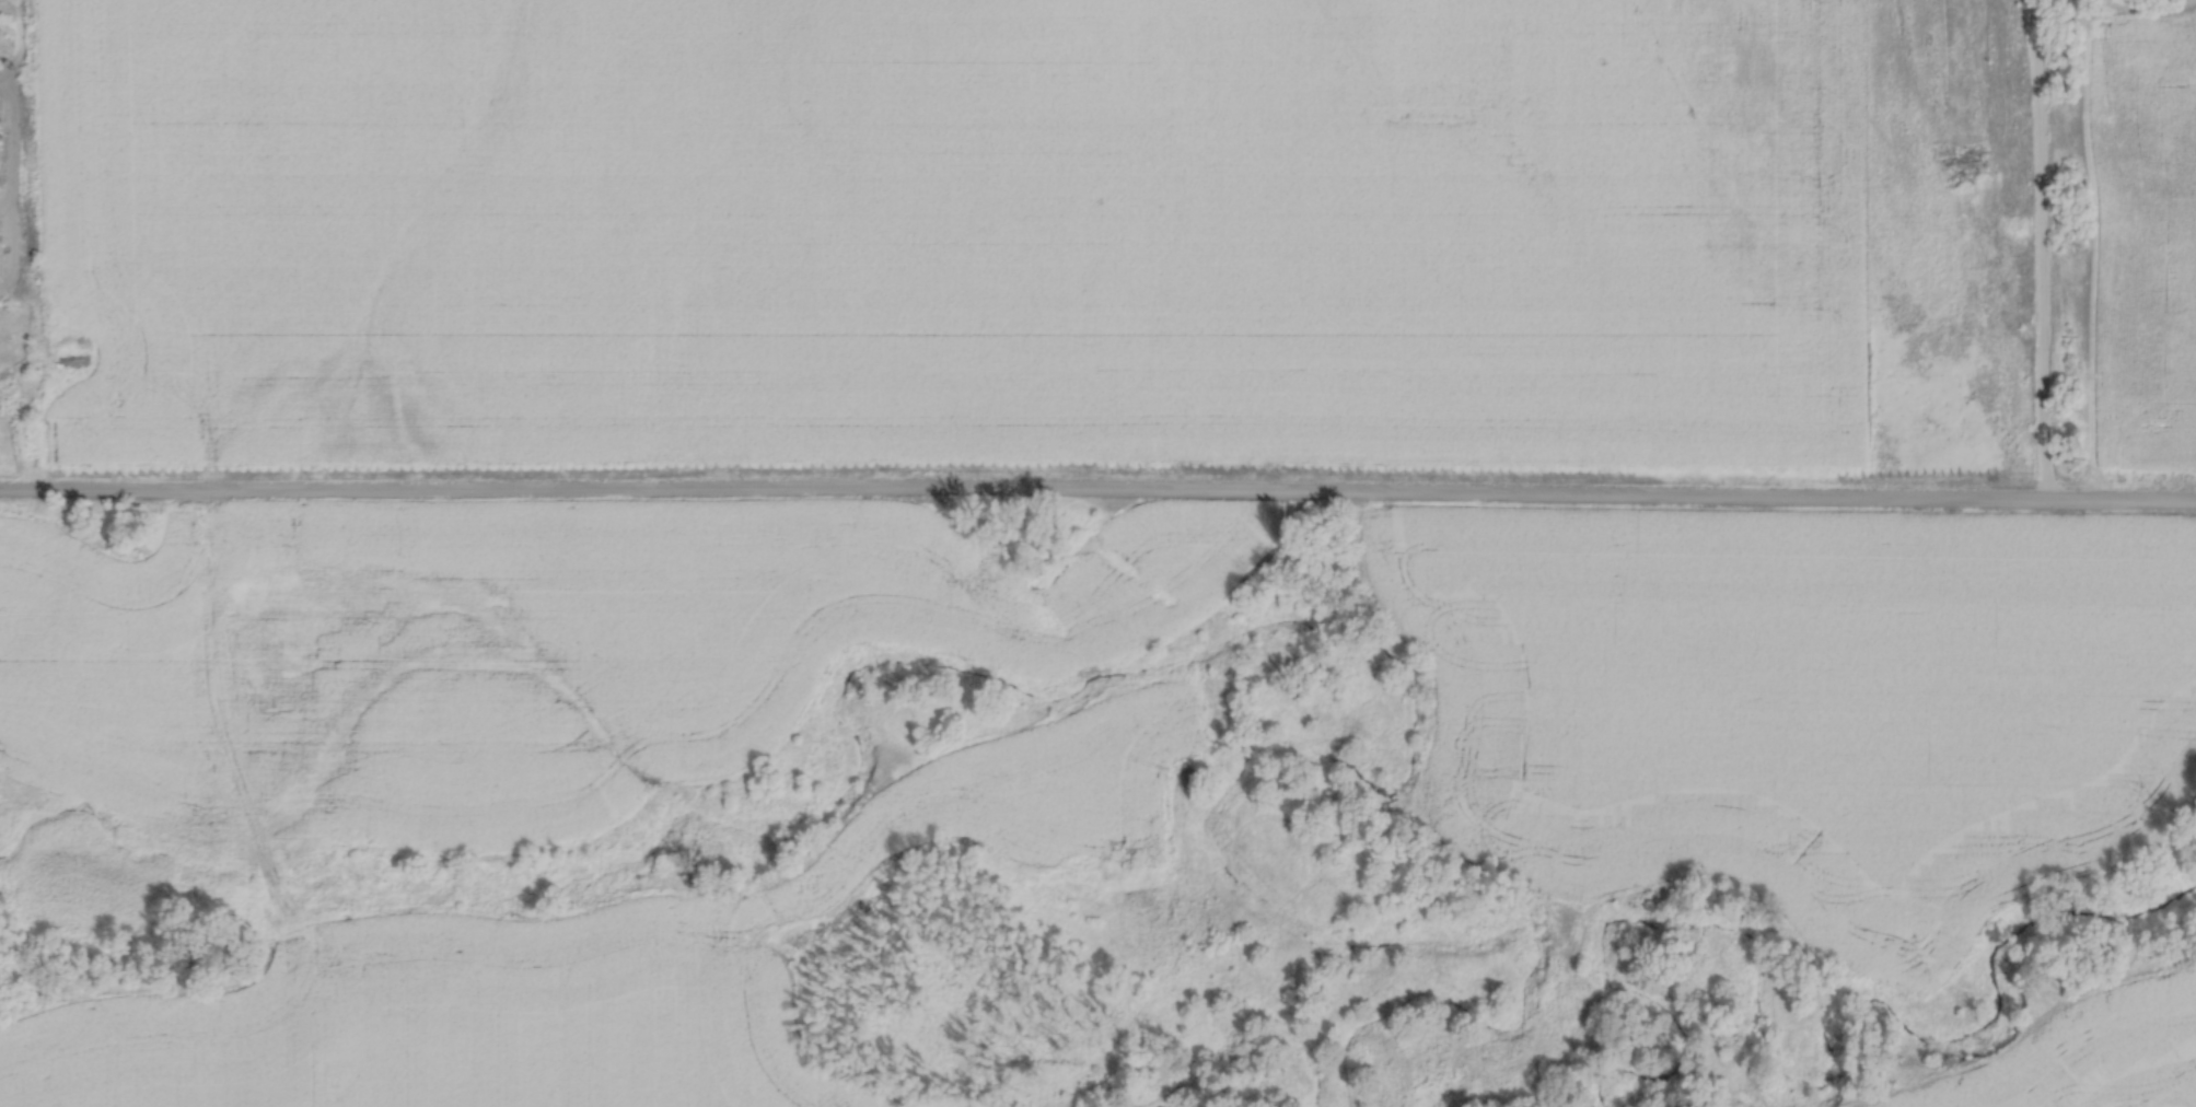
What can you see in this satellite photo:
building: (0, 155)
building: (1, 244)
road: (2038, 249)
road: (1025, 489)
road: (2123, 500)

